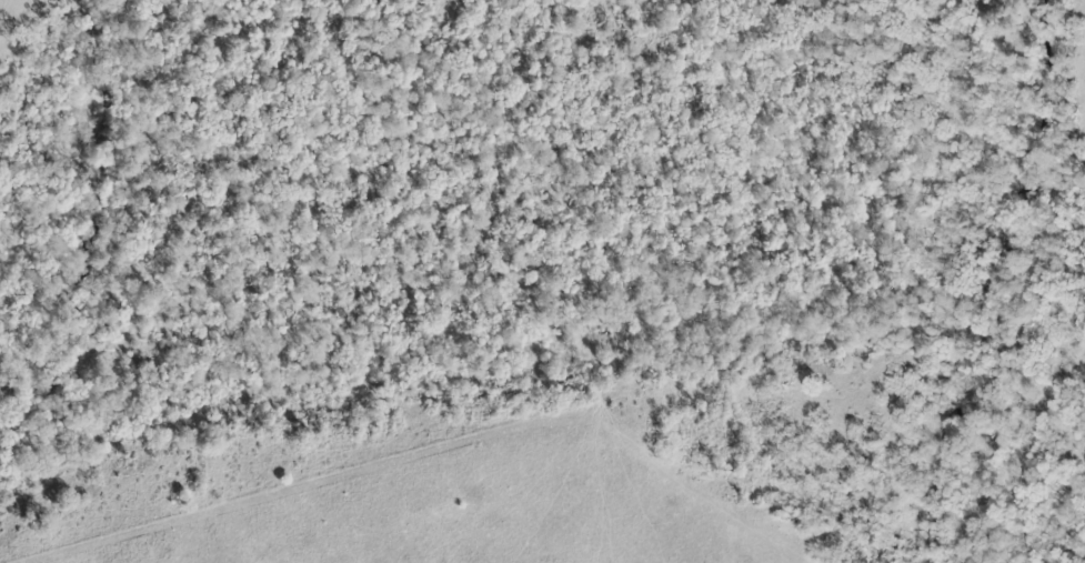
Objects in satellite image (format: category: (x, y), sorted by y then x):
river: (108, 231)
river: (993, 286)

